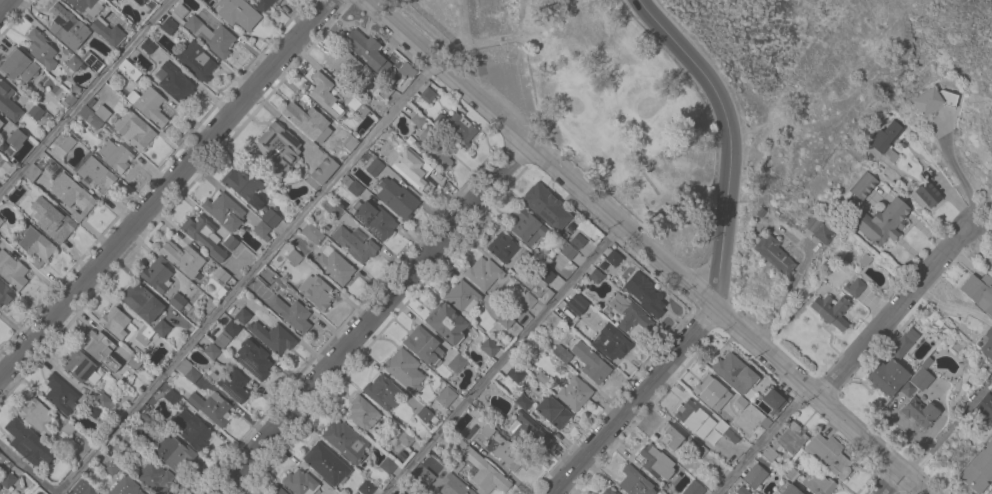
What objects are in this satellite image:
building: (108, 0)
building: (139, 2)
building: (262, 4)
building: (87, 6)
road: (6, 7)
building: (179, 13)
building: (237, 13)
building: (68, 25)
building: (168, 25)
building: (107, 31)
building: (211, 36)
building: (147, 46)
building: (41, 49)
building: (367, 51)
building: (92, 61)
building: (195, 61)
building: (73, 63)
building: (342, 63)
building: (19, 66)
building: (129, 69)
building: (406, 69)
building: (175, 83)
building: (384, 90)
building: (427, 94)
road: (84, 95)
building: (325, 95)
building: (69, 98)
building: (934, 100)
building: (8, 103)
building: (148, 104)
building: (356, 106)
building: (35, 111)
building: (102, 113)
building: (90, 117)
building: (418, 117)
building: (308, 121)
building: (1, 123)
building: (457, 128)
building: (134, 129)
building: (16, 138)
road: (731, 139)
building: (887, 139)
building: (396, 141)
building: (67, 143)
building: (350, 143)
building: (435, 148)
building: (276, 149)
building: (115, 156)
building: (1, 158)
building: (374, 167)
building: (321, 171)
building: (32, 172)
building: (96, 173)
road: (959, 174)
building: (418, 176)
building: (242, 183)
building: (863, 186)
building: (355, 188)
road: (166, 189)
building: (927, 193)
building: (72, 195)
building: (396, 198)
building: (19, 202)
building: (546, 206)
building: (332, 208)
building: (224, 211)
building: (270, 217)
building: (374, 219)
building: (1, 221)
building: (53, 221)
building: (882, 222)
road: (981, 224)
building: (527, 227)
building: (261, 230)
building: (824, 230)
building: (312, 233)
building: (204, 235)
building: (578, 240)
building: (230, 242)
building: (355, 243)
building: (35, 244)
road: (644, 246)
building: (502, 247)
building: (566, 250)
building: (773, 255)
building: (294, 257)
building: (613, 257)
building: (182, 258)
building: (334, 267)
building: (12, 270)
building: (483, 273)
building: (545, 274)
building: (157, 275)
building: (221, 275)
building: (596, 275)
road: (246, 280)
building: (854, 287)
building: (316, 291)
building: (979, 292)
building: (5, 294)
building: (645, 294)
building: (461, 295)
building: (527, 300)
building: (141, 302)
building: (179, 302)
building: (576, 304)
road: (896, 309)
building: (831, 310)
building: (291, 313)
building: (629, 313)
building: (242, 315)
road: (371, 319)
building: (505, 320)
building: (114, 322)
building: (446, 323)
building: (161, 328)
building: (232, 328)
building: (143, 334)
building: (272, 337)
building: (221, 340)
building: (611, 342)
building: (903, 343)
building: (985, 343)
building: (423, 346)
building: (488, 347)
building: (99, 349)
building: (211, 351)
building: (561, 353)
building: (253, 359)
road: (504, 360)
building: (133, 362)
building: (456, 363)
building: (591, 363)
building: (78, 365)
building: (187, 370)
building: (405, 370)
building: (515, 373)
building: (734, 373)
building: (921, 375)
building: (890, 378)
building: (233, 385)
building: (382, 392)
building: (574, 393)
building: (712, 393)
building: (61, 394)
building: (445, 397)
building: (771, 398)
building: (104, 402)
building: (523, 402)
road: (637, 402)
building: (740, 402)
building: (211, 407)
building: (93, 410)
building: (983, 410)
building: (552, 411)
building: (919, 411)
building: (363, 413)
building: (424, 414)
building: (689, 415)
building: (36, 417)
building: (726, 417)
building: (147, 419)
building: (720, 426)
building: (193, 430)
building: (487, 430)
building: (527, 430)
building: (669, 438)
building: (791, 438)
building: (406, 439)
road: (928, 439)
road: (763, 440)
building: (23, 441)
building: (345, 441)
building: (129, 443)
building: (699, 450)
building: (768, 453)
building: (176, 455)
building: (829, 455)
building: (511, 456)
building: (2, 458)
building: (656, 462)
building: (326, 464)
building: (387, 464)
building: (453, 464)
building: (111, 466)
building: (479, 468)
road: (28, 469)
building: (978, 469)
building: (790, 473)
building: (755, 475)
building: (424, 476)
building: (154, 477)
building: (7, 480)
building: (300, 482)
building: (635, 482)
building: (818, 483)
building: (125, 486)
building: (453, 486)
building: (366, 487)
building: (82, 488)
building: (694, 488)
building: (787, 489)
building: (277, 490)
building: (742, 490)
building: (608, 491)
building: (0, 492)
building: (263, 493)
building: (401, 493)
building: (599, 493)
road: (991, 493)

